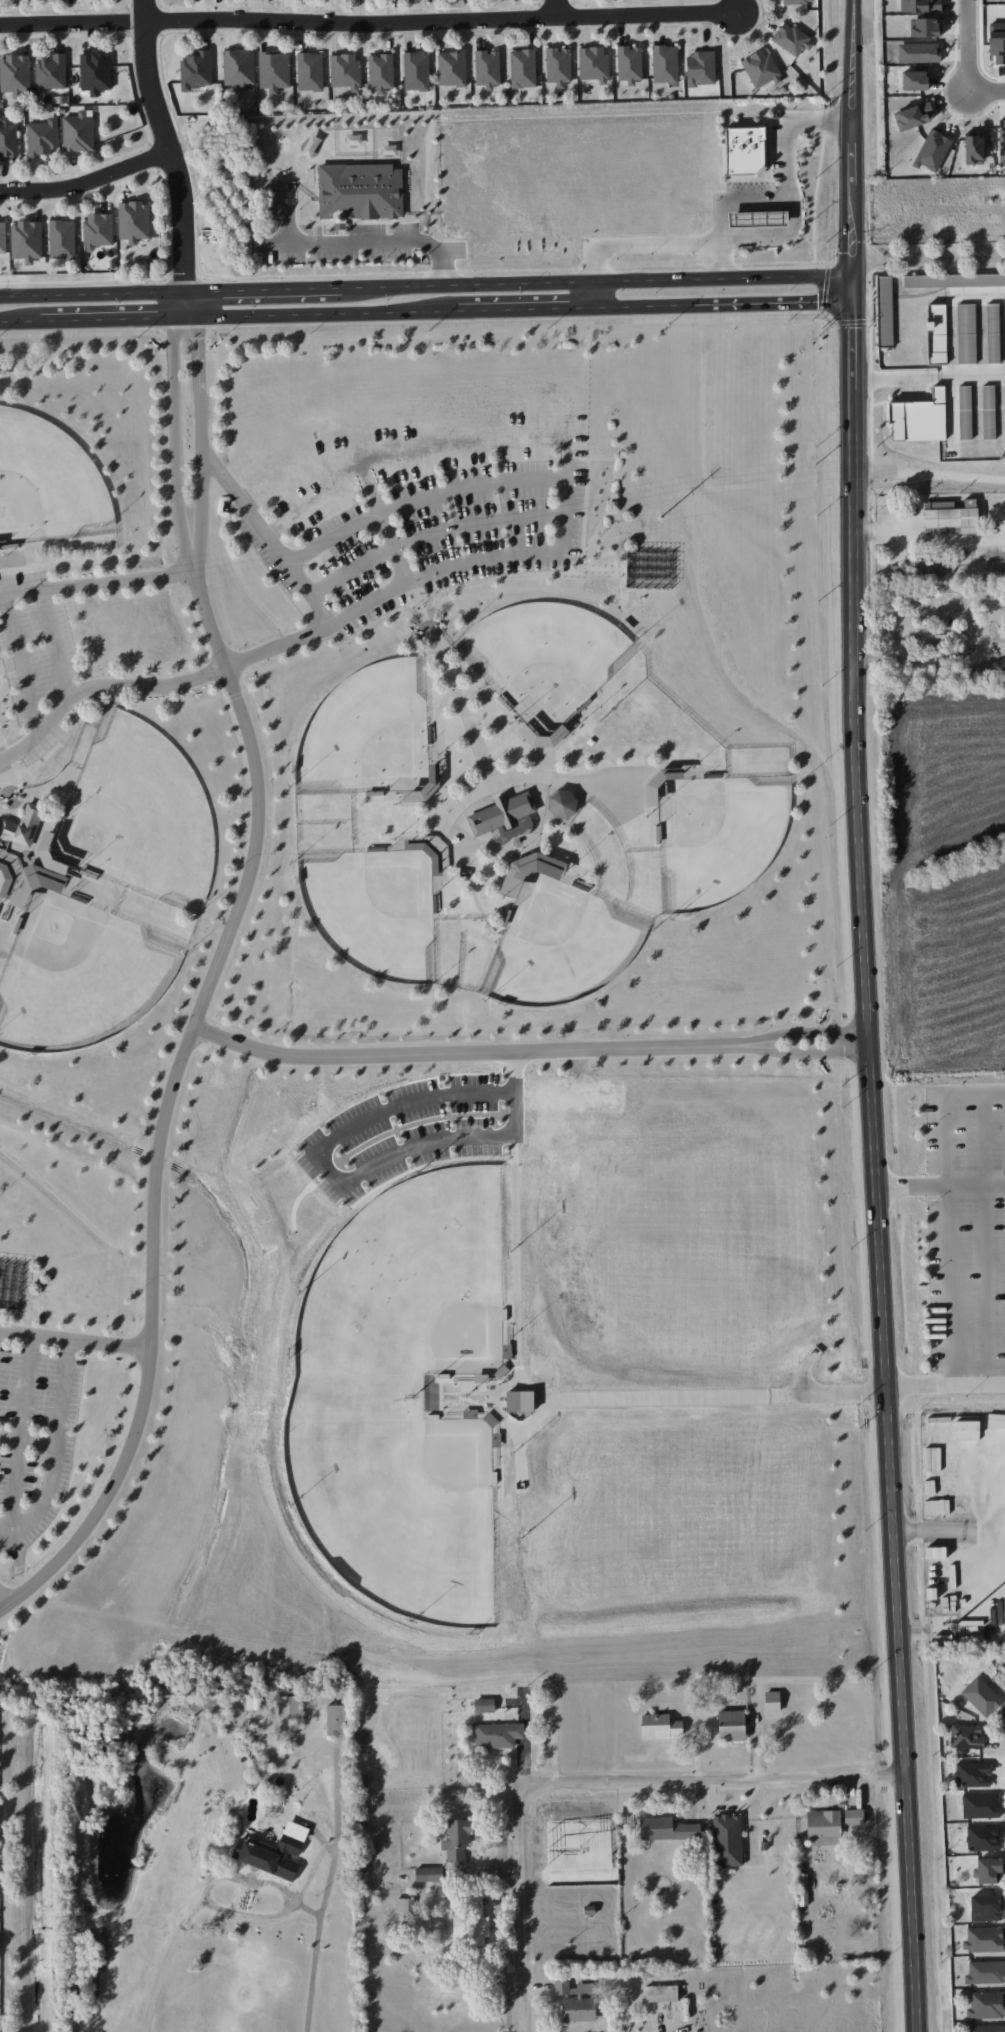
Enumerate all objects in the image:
building: (792, 1)
road: (736, 7)
road: (557, 9)
road: (368, 23)
building: (791, 39)
building: (918, 53)
building: (629, 63)
road: (969, 63)
building: (593, 64)
building: (665, 64)
building: (558, 66)
building: (239, 67)
building: (487, 67)
building: (452, 68)
building: (523, 68)
building: (700, 68)
building: (761, 68)
building: (196, 70)
building: (274, 70)
building: (310, 71)
building: (345, 71)
building: (416, 71)
building: (95, 72)
building: (381, 72)
building: (15, 73)
building: (49, 73)
building: (914, 80)
building: (913, 116)
building: (79, 131)
building: (42, 137)
road: (852, 137)
building: (8, 140)
building: (1002, 140)
road: (169, 146)
building: (974, 149)
building: (748, 152)
road: (88, 182)
road: (792, 188)
building: (361, 190)
road: (166, 210)
building: (760, 220)
gas station: (760, 220)
building: (134, 221)
building: (98, 230)
building: (3, 237)
building: (62, 239)
road: (648, 239)
building: (27, 240)
road: (369, 241)
road: (928, 258)
road: (349, 275)
road: (185, 283)
road: (597, 283)
road: (264, 291)
road: (93, 295)
road: (186, 305)
road: (725, 305)
road: (519, 309)
road: (313, 313)
road: (108, 318)
road: (16, 321)
building: (996, 332)
building: (966, 333)
building: (936, 334)
road: (928, 377)
building: (988, 411)
building: (965, 412)
building: (918, 418)
road: (200, 440)
road: (176, 442)
road: (929, 468)
park: (47, 483)
road: (566, 491)
power tower: (665, 517)
building: (950, 518)
road: (430, 536)
road: (266, 538)
road: (930, 540)
parking lot: (431, 541)
road: (393, 547)
building: (997, 564)
park: (649, 568)
building: (934, 568)
road: (589, 569)
road: (23, 570)
road: (98, 582)
building: (936, 634)
road: (56, 643)
road: (278, 646)
park: (545, 660)
road: (22, 663)
parking lot: (34, 670)
road: (448, 681)
road: (99, 686)
park: (366, 729)
road: (544, 746)
road: (36, 766)
road: (2, 768)
road: (587, 782)
building: (428, 789)
road: (440, 802)
park: (142, 811)
building: (502, 812)
building: (23, 825)
park: (714, 836)
building: (519, 869)
building: (34, 880)
park: (1, 883)
park: (372, 910)
park: (559, 945)
park: (83, 974)
park: (425, 1012)
road: (856, 1040)
road: (731, 1045)
road: (459, 1052)
road: (167, 1104)
road: (946, 1112)
parking lot: (403, 1133)
road: (874, 1154)
road: (322, 1163)
road: (940, 1188)
road: (985, 1239)
road: (950, 1285)
park: (415, 1286)
road: (7, 1314)
road: (34, 1338)
road: (108, 1347)
road: (943, 1383)
road: (544, 1411)
parking lot: (37, 1424)
road: (19, 1439)
road: (27, 1444)
road: (54, 1455)
park: (405, 1515)
road: (950, 1529)
road: (3, 1603)
building: (982, 1696)
building: (253, 1702)
building: (772, 1702)
building: (485, 1705)
building: (289, 1707)
building: (337, 1720)
building: (731, 1725)
building: (660, 1726)
building: (498, 1735)
building: (966, 1736)
building: (972, 1774)
road: (708, 1780)
building: (981, 1805)
building: (854, 1817)
building: (823, 1827)
building: (667, 1829)
building: (984, 1838)
building: (457, 1840)
building: (727, 1840)
building: (275, 1852)
road: (313, 1870)
building: (988, 1871)
building: (428, 1874)
road: (210, 1883)
road: (324, 1890)
building: (405, 1905)
building: (986, 1907)
road: (522, 1910)
building: (472, 1925)
building: (984, 1939)
building: (985, 1972)
building: (661, 1993)
building: (986, 2005)
building: (579, 2009)
road: (659, 2020)
building: (986, 2028)

